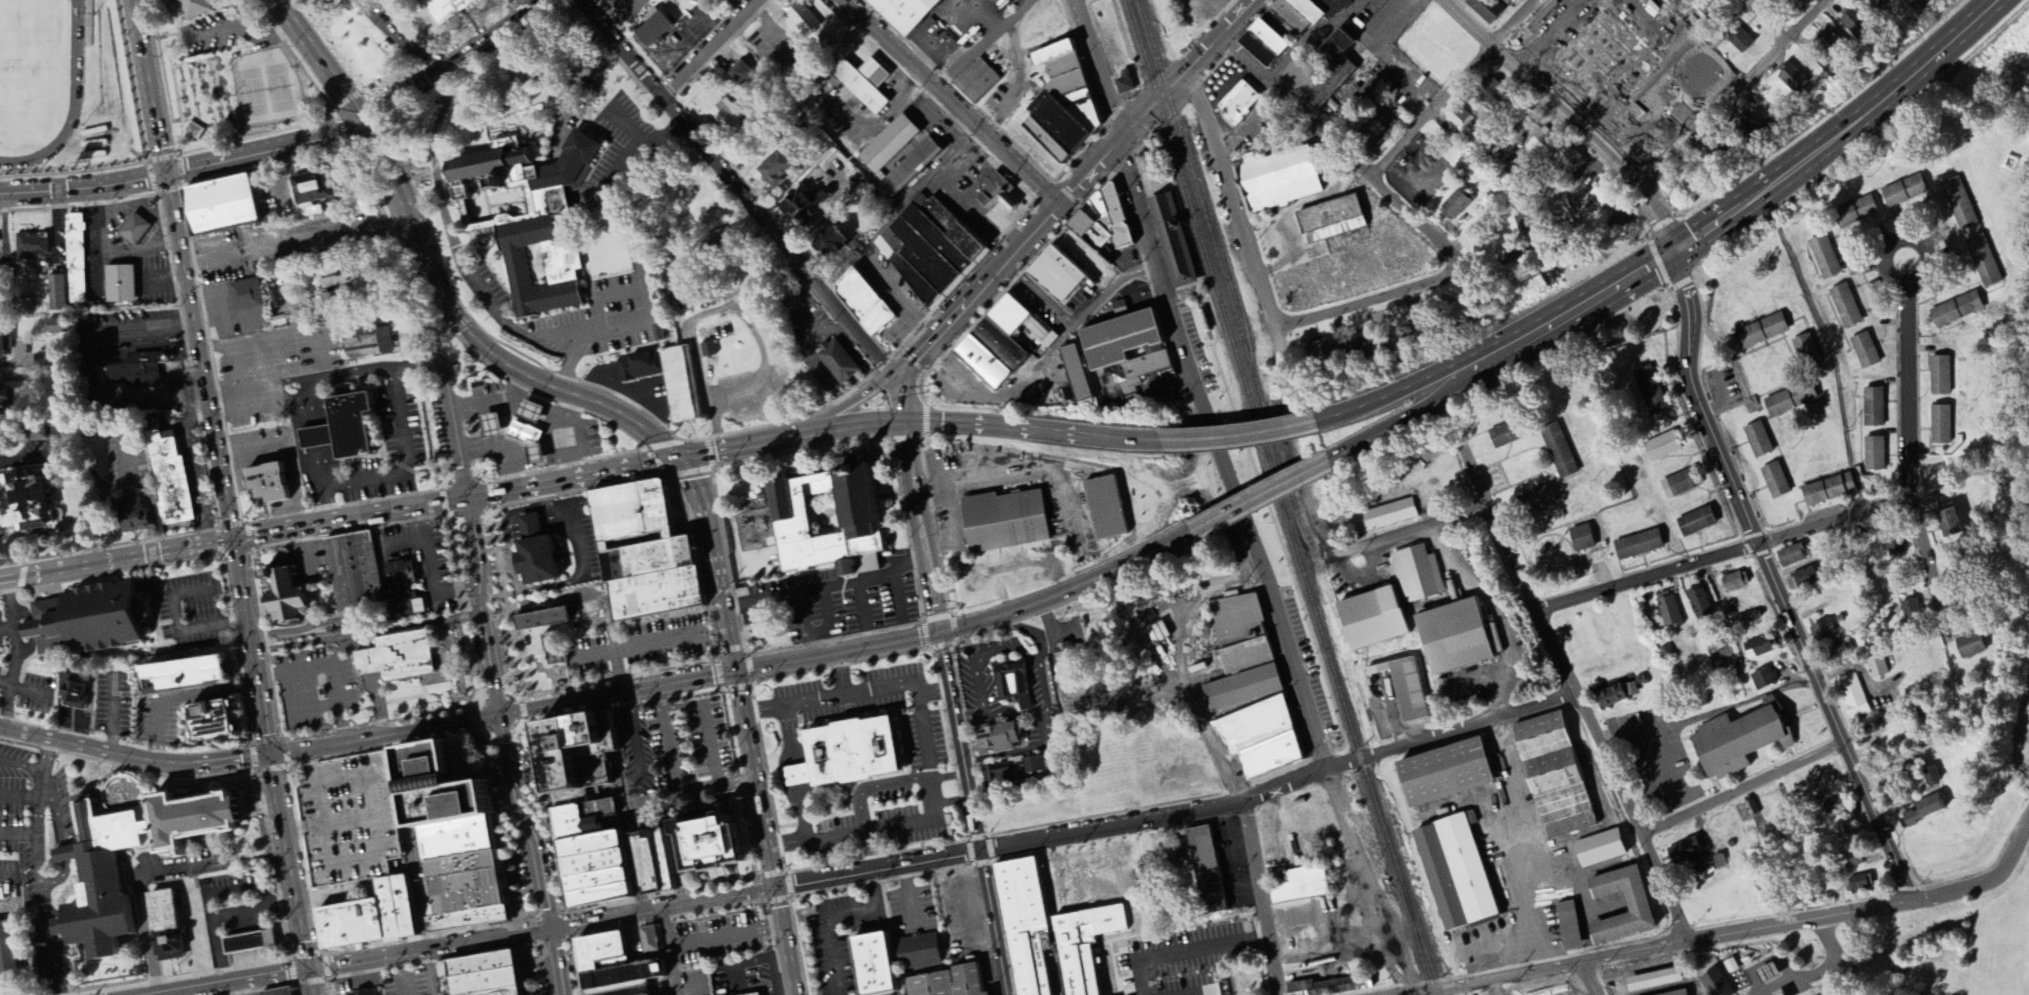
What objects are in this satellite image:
building: (1871, 4)
road: (531, 5)
building: (189, 7)
building: (444, 10)
building: (1484, 10)
building: (908, 13)
building: (805, 18)
road: (1768, 21)
building: (1853, 23)
building: (1288, 26)
railway: (1156, 29)
building: (659, 30)
park: (29, 32)
building: (1737, 39)
road: (399, 40)
road: (986, 43)
building: (1829, 43)
road: (710, 47)
track: (73, 49)
road: (456, 62)
building: (1322, 70)
road: (572, 75)
building: (744, 75)
road: (1105, 78)
building: (1792, 79)
building: (978, 82)
building: (1125, 82)
building: (868, 84)
road: (1454, 88)
park: (268, 89)
building: (1489, 92)
road: (952, 101)
building: (1062, 104)
building: (1239, 105)
road: (355, 114)
building: (731, 115)
road: (1568, 118)
building: (1458, 120)
traffic signals: (363, 125)
building: (1374, 130)
building: (1746, 131)
building: (889, 141)
road: (641, 142)
road: (1348, 155)
building: (1565, 158)
building: (910, 166)
road: (182, 169)
building: (779, 169)
road: (73, 171)
traffic signals: (165, 174)
road: (151, 177)
building: (1278, 179)
building: (331, 186)
road: (1074, 190)
building: (1903, 191)
building: (1001, 194)
building: (1603, 195)
road: (1233, 197)
building: (807, 202)
road: (1744, 203)
road: (78, 204)
building: (1958, 204)
building: (230, 206)
building: (1455, 206)
road: (755, 207)
road: (612, 208)
building: (1562, 209)
building: (1854, 213)
road: (100, 220)
building: (1329, 220)
building: (540, 221)
building: (1105, 221)
building: (1523, 224)
road: (882, 228)
building: (138, 231)
road: (1595, 236)
road: (1910, 237)
building: (725, 239)
road: (451, 240)
building: (1173, 240)
building: (839, 243)
railway: (1223, 243)
building: (931, 247)
building: (34, 248)
road: (1152, 248)
road: (139, 250)
traffic signals: (1677, 251)
building: (1823, 257)
building: (1983, 261)
building: (72, 268)
building: (1058, 274)
railway: (1224, 274)
building: (123, 285)
building: (325, 286)
road: (1109, 287)
building: (248, 296)
road: (1036, 296)
building: (864, 300)
building: (1844, 306)
building: (1455, 313)
building: (1946, 314)
road: (648, 317)
building: (1202, 320)
building: (1022, 321)
road: (309, 324)
building: (60, 328)
building: (1760, 332)
building: (373, 344)
building: (6, 349)
building: (710, 350)
building: (992, 350)
building: (1806, 351)
building: (1864, 351)
building: (1128, 355)
building: (1320, 357)
building: (838, 359)
building: (49, 361)
road: (413, 363)
building: (642, 368)
road: (347, 374)
building: (1081, 375)
building: (1939, 376)
road: (530, 378)
building: (680, 382)
road: (239, 386)
road: (275, 389)
building: (1649, 390)
road: (258, 393)
road: (1002, 394)
road: (1906, 394)
building: (10, 396)
road: (1391, 398)
road: (1722, 399)
building: (1789, 400)
road: (308, 404)
road: (846, 406)
building: (1872, 408)
building: (537, 413)
road: (1396, 418)
traffic signals: (907, 420)
road: (853, 424)
building: (1940, 425)
building: (497, 427)
road: (996, 427)
building: (349, 429)
building: (529, 434)
road: (314, 435)
building: (1503, 435)
road: (1237, 436)
road: (1121, 440)
building: (1757, 440)
building: (1661, 447)
building: (1558, 451)
traffic signals: (696, 453)
building: (1873, 454)
road: (635, 464)
road: (317, 467)
road: (394, 474)
building: (1774, 481)
building: (173, 482)
building: (275, 484)
building: (1677, 485)
building: (1828, 490)
traffic signals: (470, 496)
road: (1257, 496)
road: (223, 497)
railway: (1279, 498)
building: (1535, 501)
building: (29, 503)
building: (1931, 504)
building: (1110, 509)
building: (141, 512)
building: (630, 512)
building: (858, 513)
building: (1379, 517)
road: (351, 518)
building: (1010, 522)
building: (1695, 522)
building: (1949, 523)
road: (1407, 533)
parking lot: (430, 539)
building: (1580, 539)
traffic signals: (232, 541)
building: (1637, 545)
road: (200, 546)
building: (1894, 547)
road: (1258, 554)
road: (1721, 555)
building: (1790, 556)
building: (539, 559)
road: (84, 566)
road: (1928, 567)
building: (354, 572)
railway: (1321, 573)
building: (1416, 574)
building: (652, 579)
building: (1800, 580)
building: (1734, 582)
road: (1068, 586)
road: (1776, 586)
building: (400, 588)
building: (283, 595)
building: (1698, 604)
road: (462, 611)
building: (1667, 611)
building: (1910, 611)
road: (491, 619)
building: (544, 619)
building: (1370, 619)
building: (1745, 619)
building: (94, 620)
road: (7, 628)
building: (1821, 631)
parking lot: (665, 634)
traffic signals: (945, 635)
building: (1451, 638)
building: (1968, 646)
building: (554, 648)
building: (1758, 648)
building: (1835, 651)
road: (15, 654)
building: (406, 655)
building: (1240, 655)
road: (1849, 661)
building: (1876, 667)
traffic signals: (736, 670)
road: (725, 671)
building: (195, 674)
building: (1761, 679)
road: (5, 682)
building: (1016, 684)
parking lot: (313, 688)
road: (867, 689)
building: (1403, 689)
road: (1571, 690)
building: (76, 691)
road: (492, 691)
road: (30, 692)
building: (1615, 695)
building: (1852, 697)
road: (793, 702)
road: (957, 707)
traffic signals: (507, 712)
road: (475, 719)
road: (922, 720)
building: (223, 723)
road: (745, 723)
road: (388, 733)
road: (788, 733)
building: (1003, 739)
building: (1259, 739)
building: (1738, 741)
road: (613, 746)
road: (1408, 747)
parking lot: (671, 749)
parking lot: (672, 750)
building: (854, 750)
building: (578, 753)
traffic signals: (270, 755)
road: (134, 758)
parking lot: (1655, 759)
road: (22, 764)
building: (1014, 773)
building: (1442, 774)
road: (797, 775)
road: (947, 776)
building: (1553, 776)
building: (1930, 776)
building: (803, 777)
road: (673, 778)
building: (439, 785)
road: (872, 787)
road: (1742, 788)
building: (586, 796)
road: (952, 801)
road: (39, 804)
road: (802, 804)
building: (1831, 806)
road: (1892, 809)
building: (1923, 811)
building: (1753, 812)
road: (58, 814)
building: (190, 818)
parking lot: (347, 819)
building: (590, 819)
road: (499, 821)
road: (919, 822)
road: (749, 833)
road: (833, 835)
building: (454, 837)
road: (793, 839)
building: (710, 842)
road: (403, 844)
building: (592, 844)
road: (668, 846)
building: (1598, 849)
traffic signals: (982, 850)
road: (872, 851)
building: (1682, 852)
road: (961, 853)
building: (1170, 853)
road: (65, 854)
building: (660, 860)
road: (38, 861)
building: (595, 862)
building: (1849, 862)
building: (644, 863)
building: (458, 864)
building: (1205, 871)
building: (1454, 873)
building: (104, 874)
road: (772, 875)
road: (7, 879)
building: (598, 879)
road: (1997, 879)
road: (59, 880)
road: (790, 883)
road: (724, 884)
road: (1371, 884)
building: (1858, 885)
traffic signals: (775, 886)
building: (1299, 886)
building: (463, 891)
road: (206, 892)
road: (139, 893)
building: (601, 895)
road: (767, 899)
road: (1261, 899)
building: (393, 906)
road: (671, 906)
building: (1637, 908)
road: (240, 912)
road: (831, 916)
building: (463, 918)
road: (607, 918)
road: (1312, 918)
building: (350, 923)
building: (165, 925)
building: (1023, 925)
road: (666, 926)
building: (1567, 926)
traffic signals: (552, 930)
road: (725, 935)
parking lot: (720, 936)
building: (651, 939)
road: (50, 941)
building: (254, 943)
road: (1675, 944)
railway: (1419, 945)
building: (1083, 946)
building: (923, 951)
building: (603, 952)
road: (1188, 953)
road: (1337, 957)
building: (10, 958)
road: (351, 962)
road: (779, 962)
building: (481, 963)
building: (869, 964)
traffic signals: (304, 969)
road: (672, 969)
road: (1817, 971)
road: (426, 974)
building: (624, 975)
building: (1766, 975)
building: (443, 977)
building: (975, 980)
road: (1586, 980)
building: (484, 981)
road: (774, 981)
building: (1652, 981)
building: (1714, 984)
building: (934, 985)
building: (1338, 985)
building: (621, 988)
road: (181, 992)
building: (280, 992)
building: (500, 992)
building: (635, 992)
building: (368, 993)
building: (1678, 993)
building: (755, 994)
building: (761, 994)

